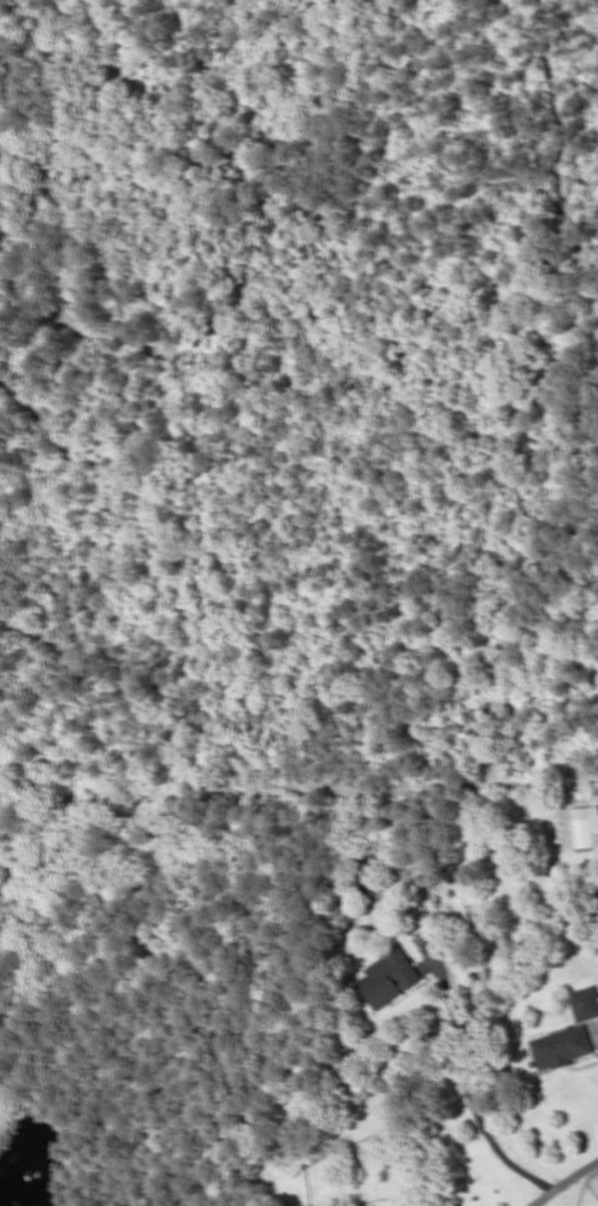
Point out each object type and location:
building: (386, 977)
building: (584, 1003)
building: (559, 1046)
road: (567, 1184)

